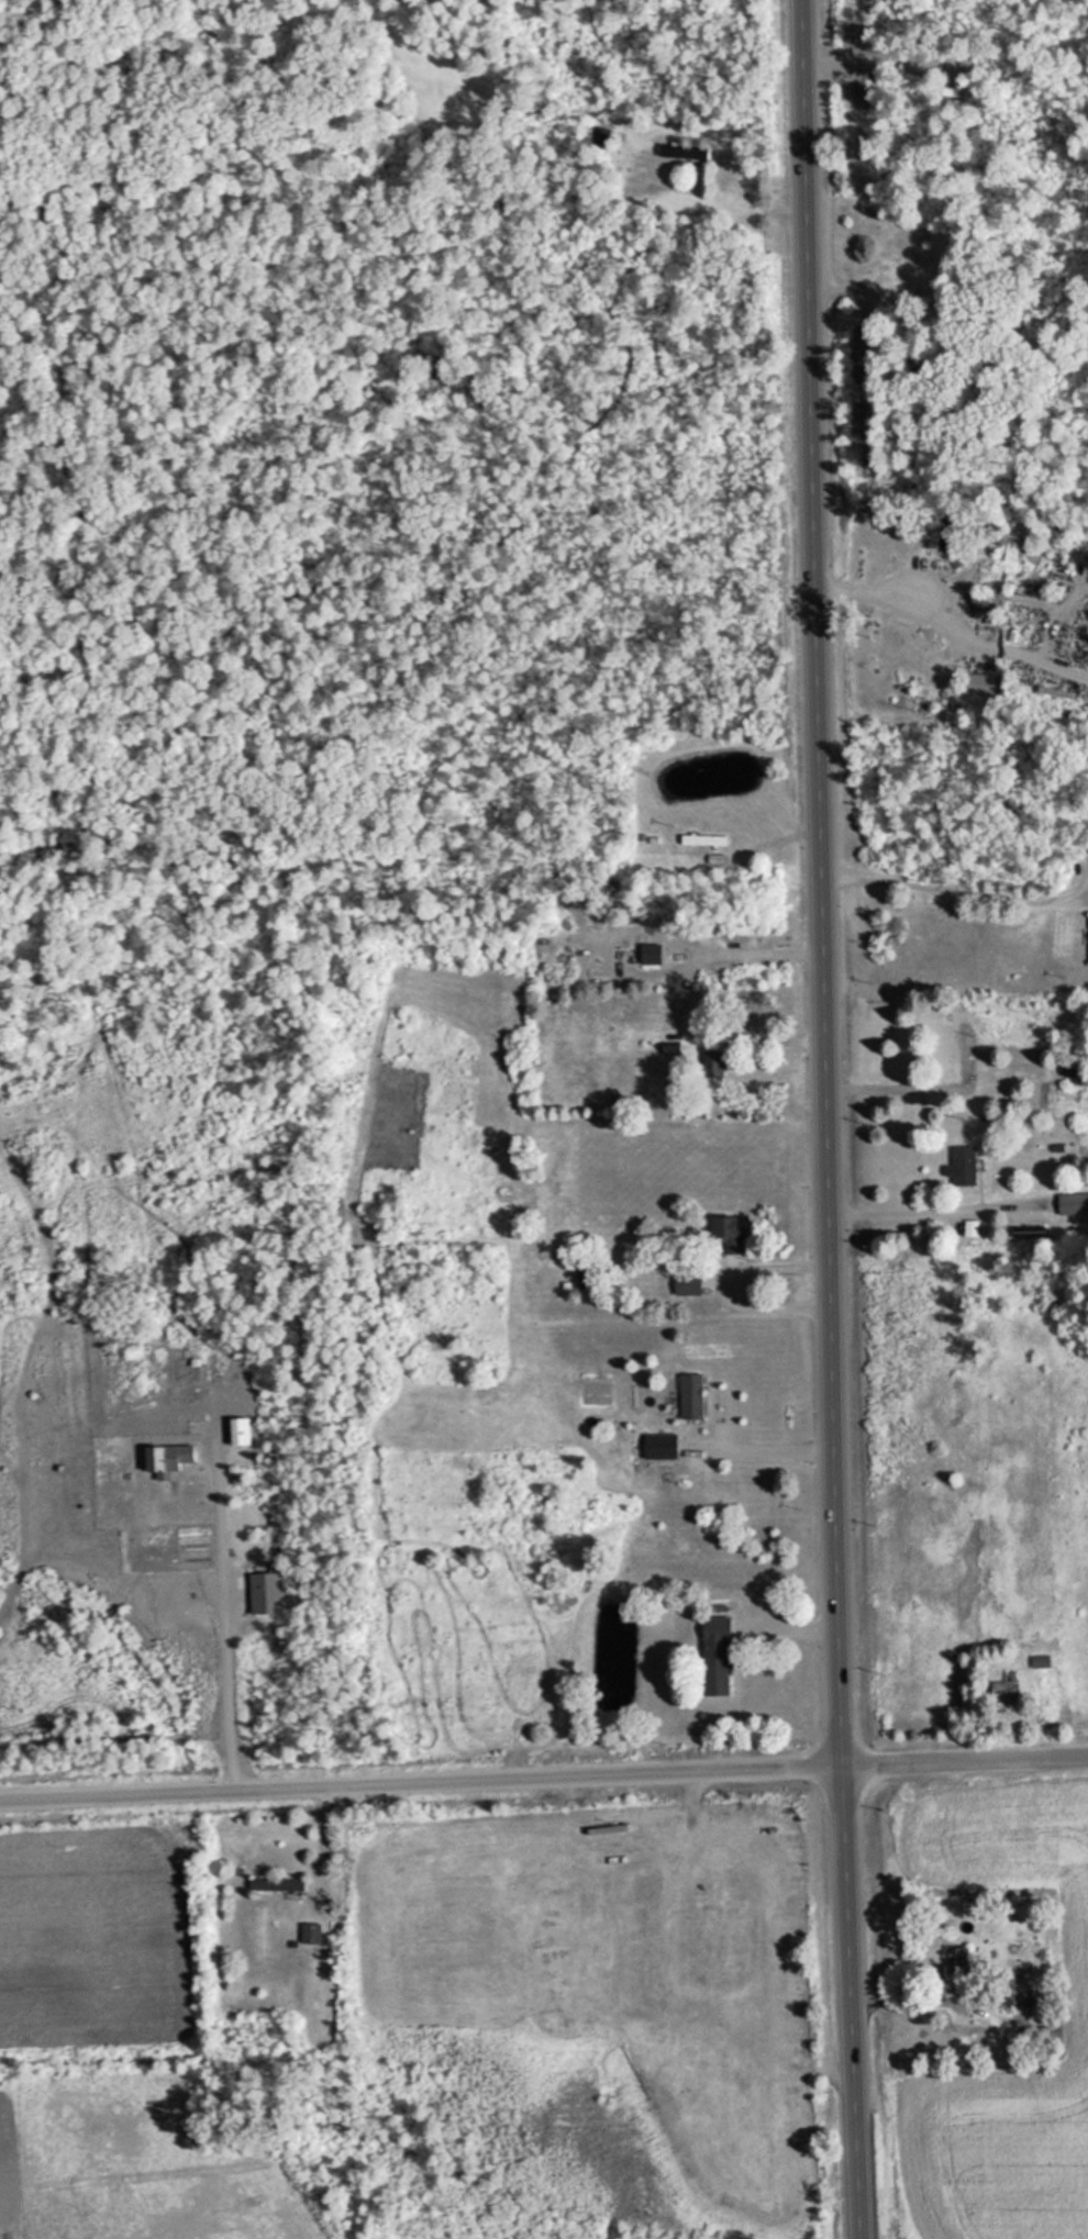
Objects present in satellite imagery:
building: (682, 152)
building: (914, 250)
building: (1061, 531)
building: (946, 534)
building: (982, 601)
building: (978, 683)
building: (702, 840)
building: (650, 954)
building: (715, 1065)
building: (990, 1069)
road: (828, 1119)
building: (963, 1166)
building: (1073, 1203)
building: (726, 1235)
building: (687, 1285)
building: (691, 1396)
building: (658, 1446)
building: (715, 1657)
building: (1041, 1661)
building: (1004, 1687)
road: (543, 1781)
building: (279, 1884)
building: (310, 1932)
building: (957, 1960)
building: (1003, 1994)
building: (1036, 2035)

